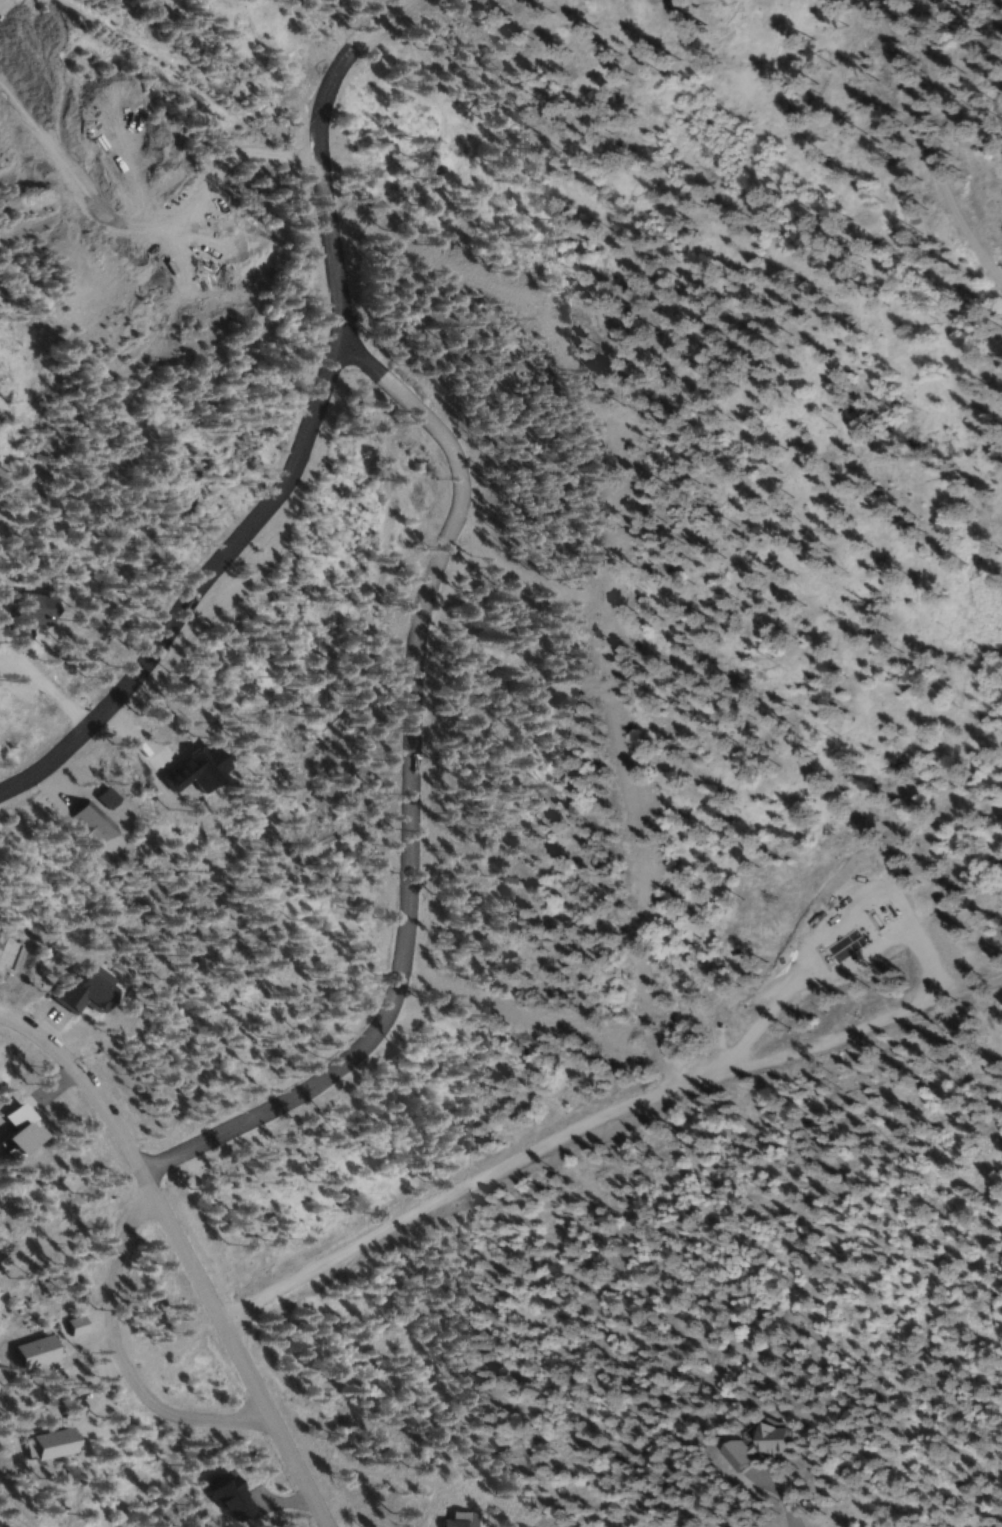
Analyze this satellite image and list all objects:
road: (339, 24)
road: (924, 143)
road: (146, 240)
road: (307, 433)
road: (412, 801)
road: (835, 922)
road: (600, 1122)
road: (184, 1253)
road: (117, 1360)
building: (751, 1446)

